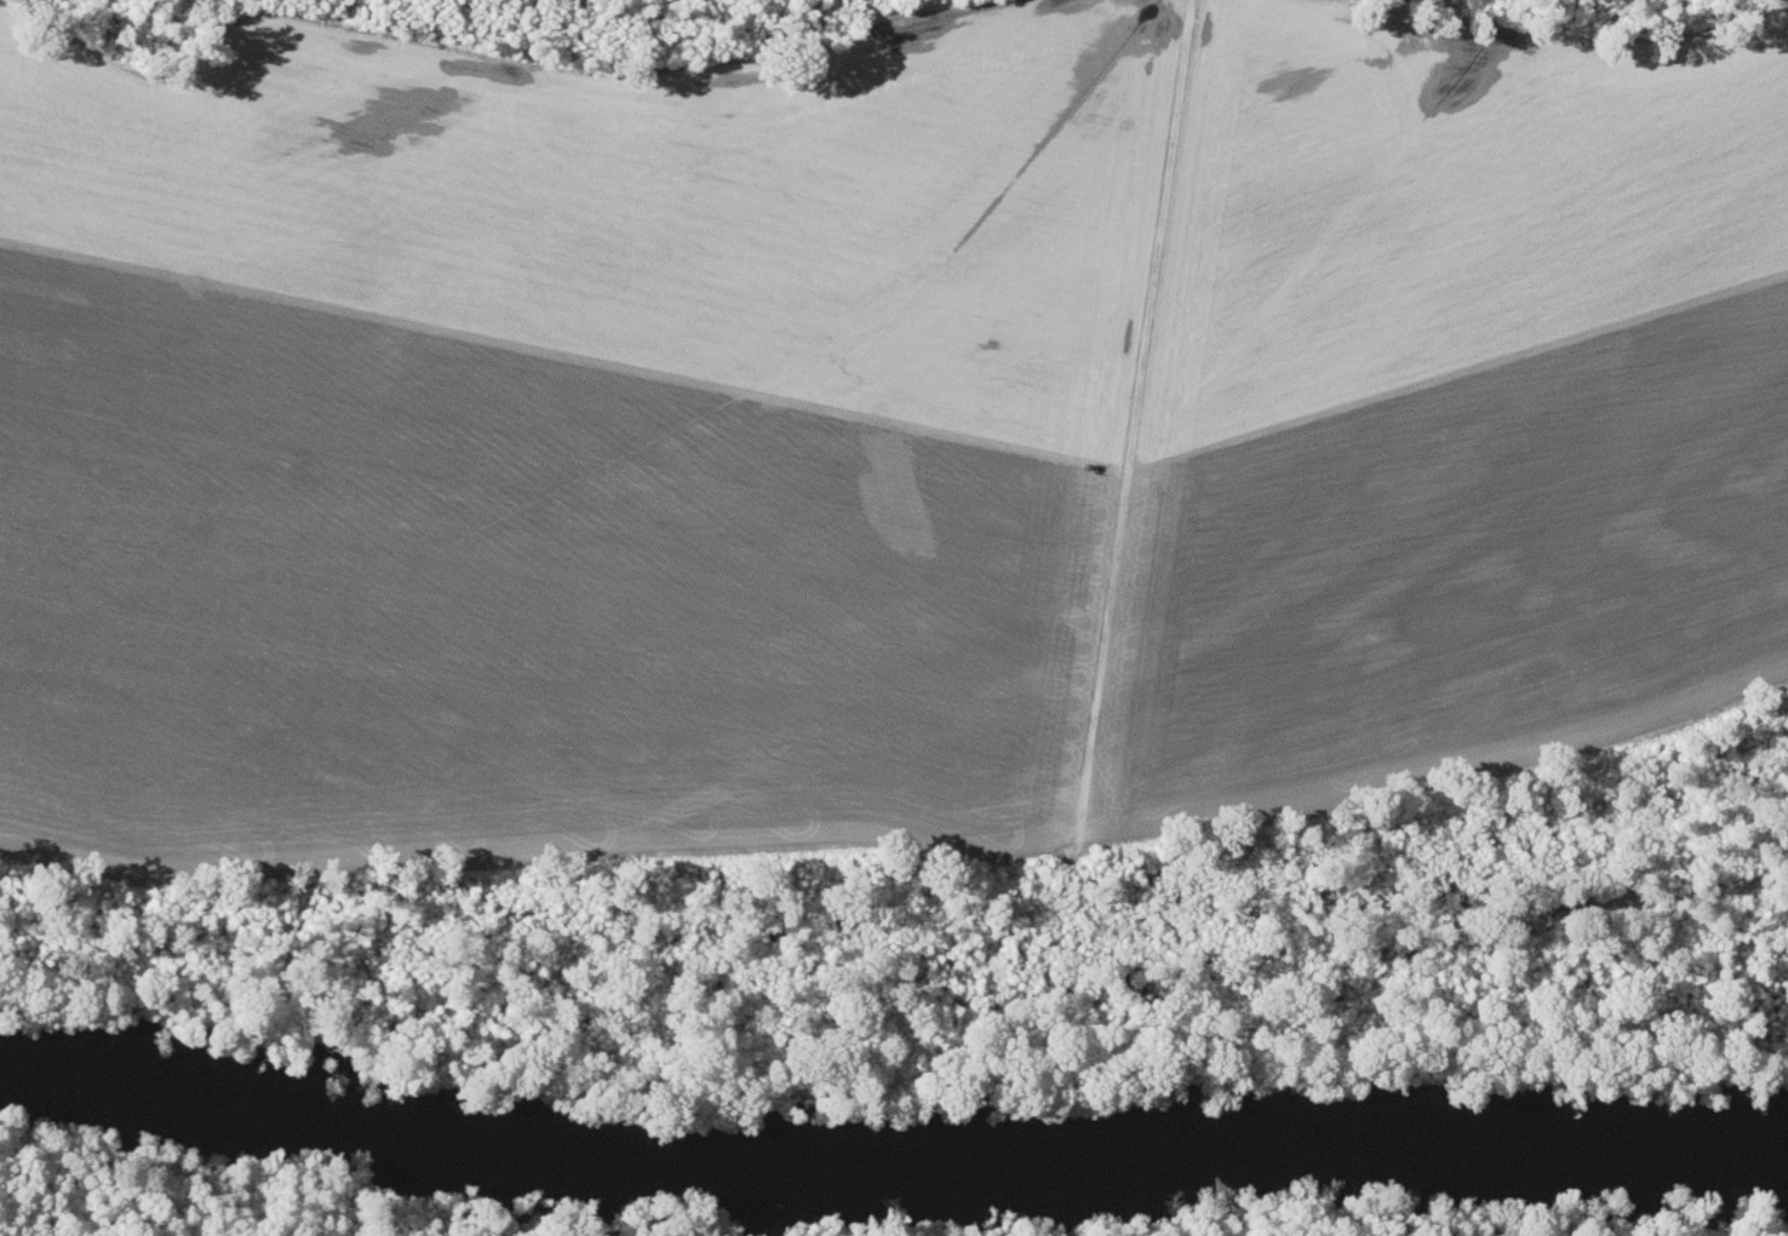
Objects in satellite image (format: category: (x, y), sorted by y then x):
road: (1136, 412)
river: (890, 1150)

